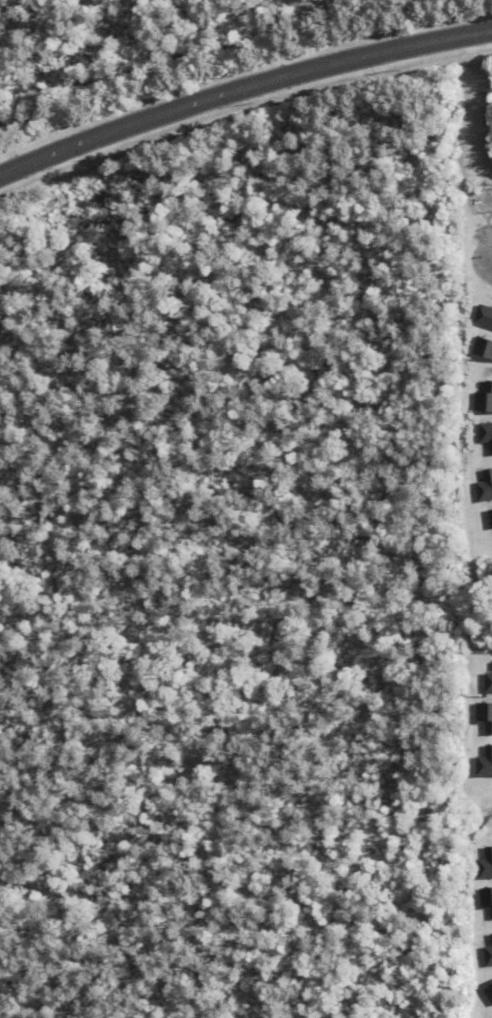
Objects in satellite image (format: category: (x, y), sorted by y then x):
road: (242, 90)
building: (482, 318)
building: (481, 349)
building: (483, 399)
building: (485, 436)
building: (484, 487)
building: (489, 519)
building: (487, 683)
building: (483, 717)
building: (483, 763)
building: (484, 866)
building: (485, 900)
building: (488, 955)
building: (488, 994)

